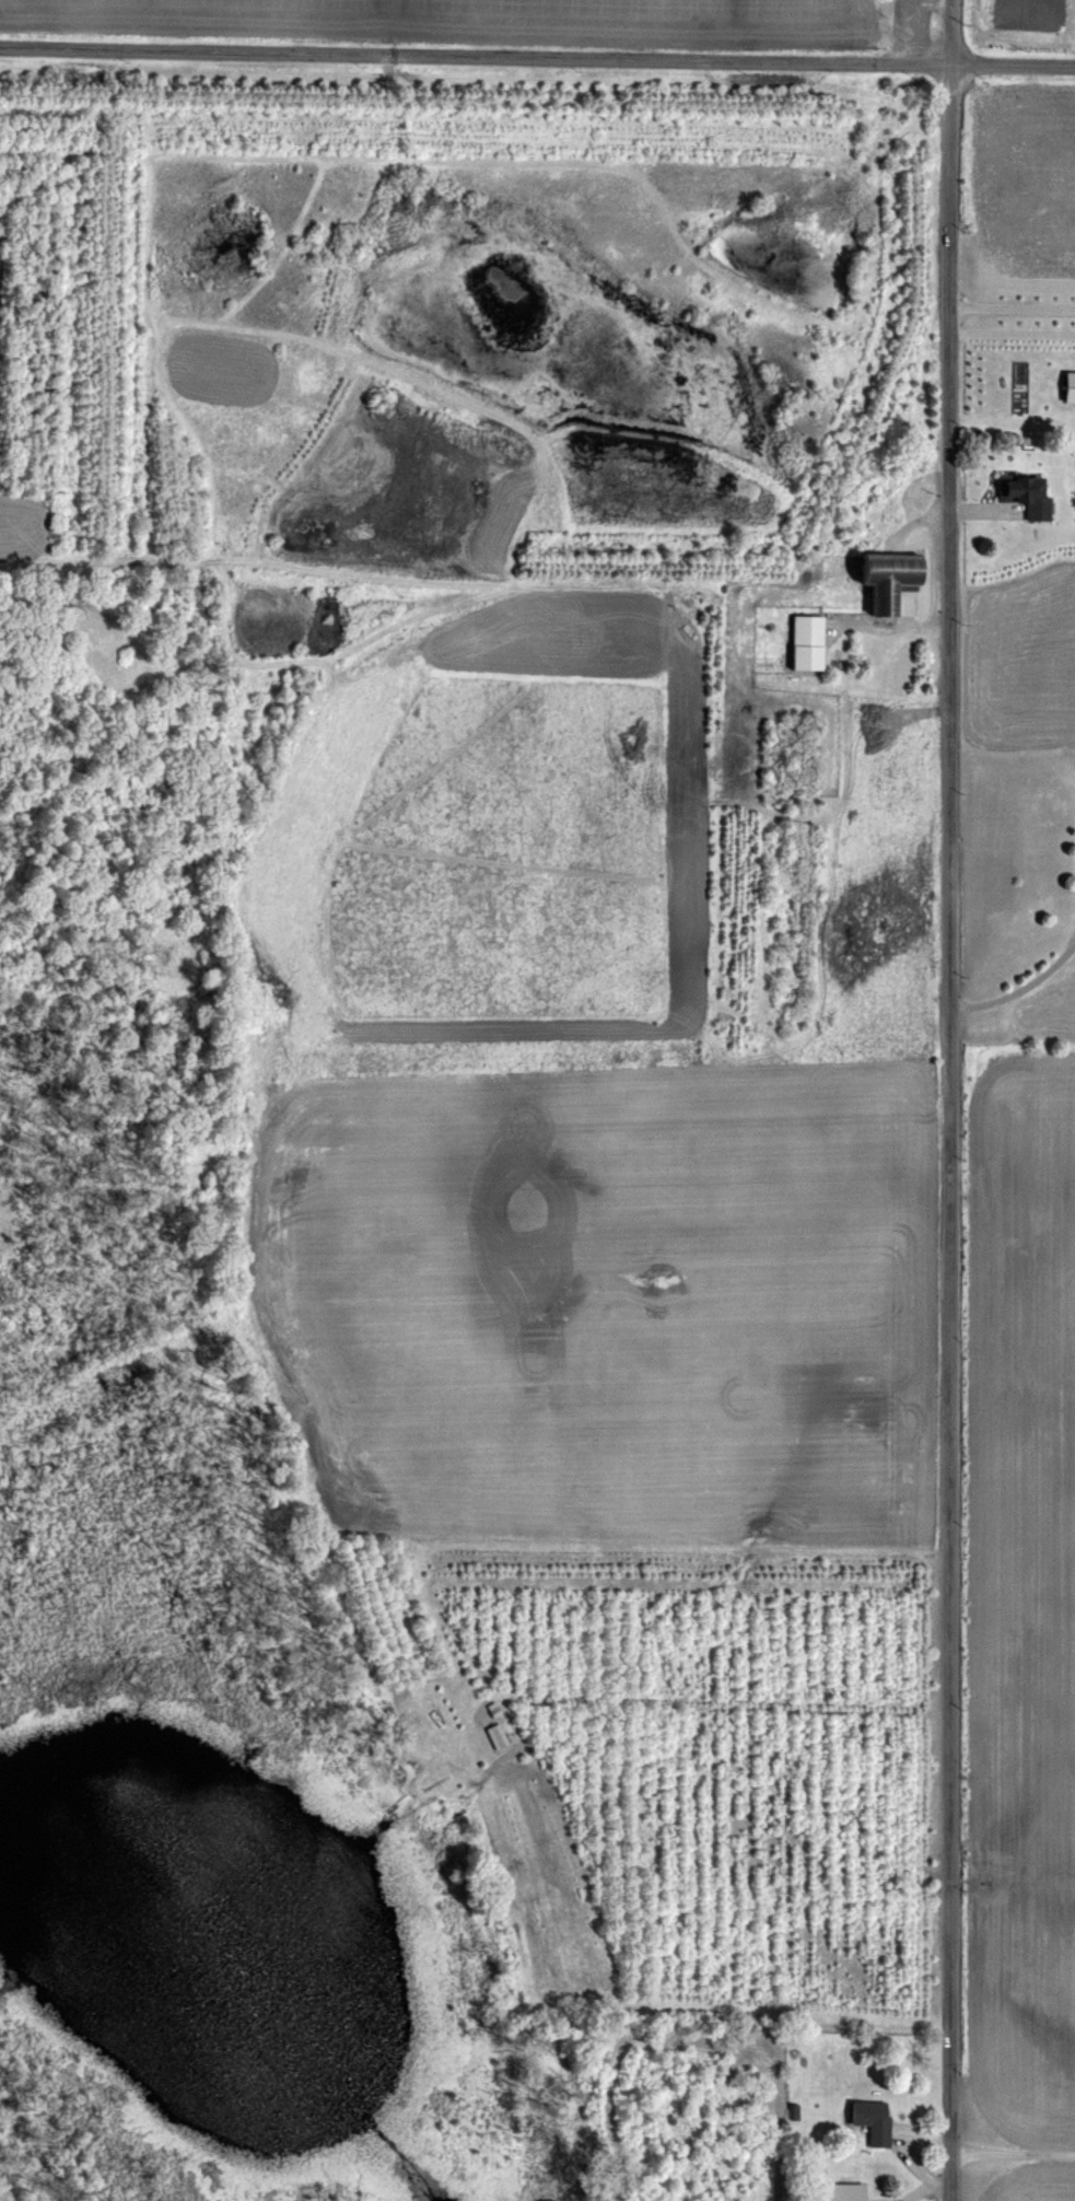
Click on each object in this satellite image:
road: (537, 58)
road: (1008, 306)
building: (1019, 493)
building: (880, 577)
road: (891, 627)
building: (802, 640)
road: (1017, 989)
road: (944, 1099)
building: (493, 1735)
building: (869, 2119)
road: (1009, 2151)
building: (836, 2191)

